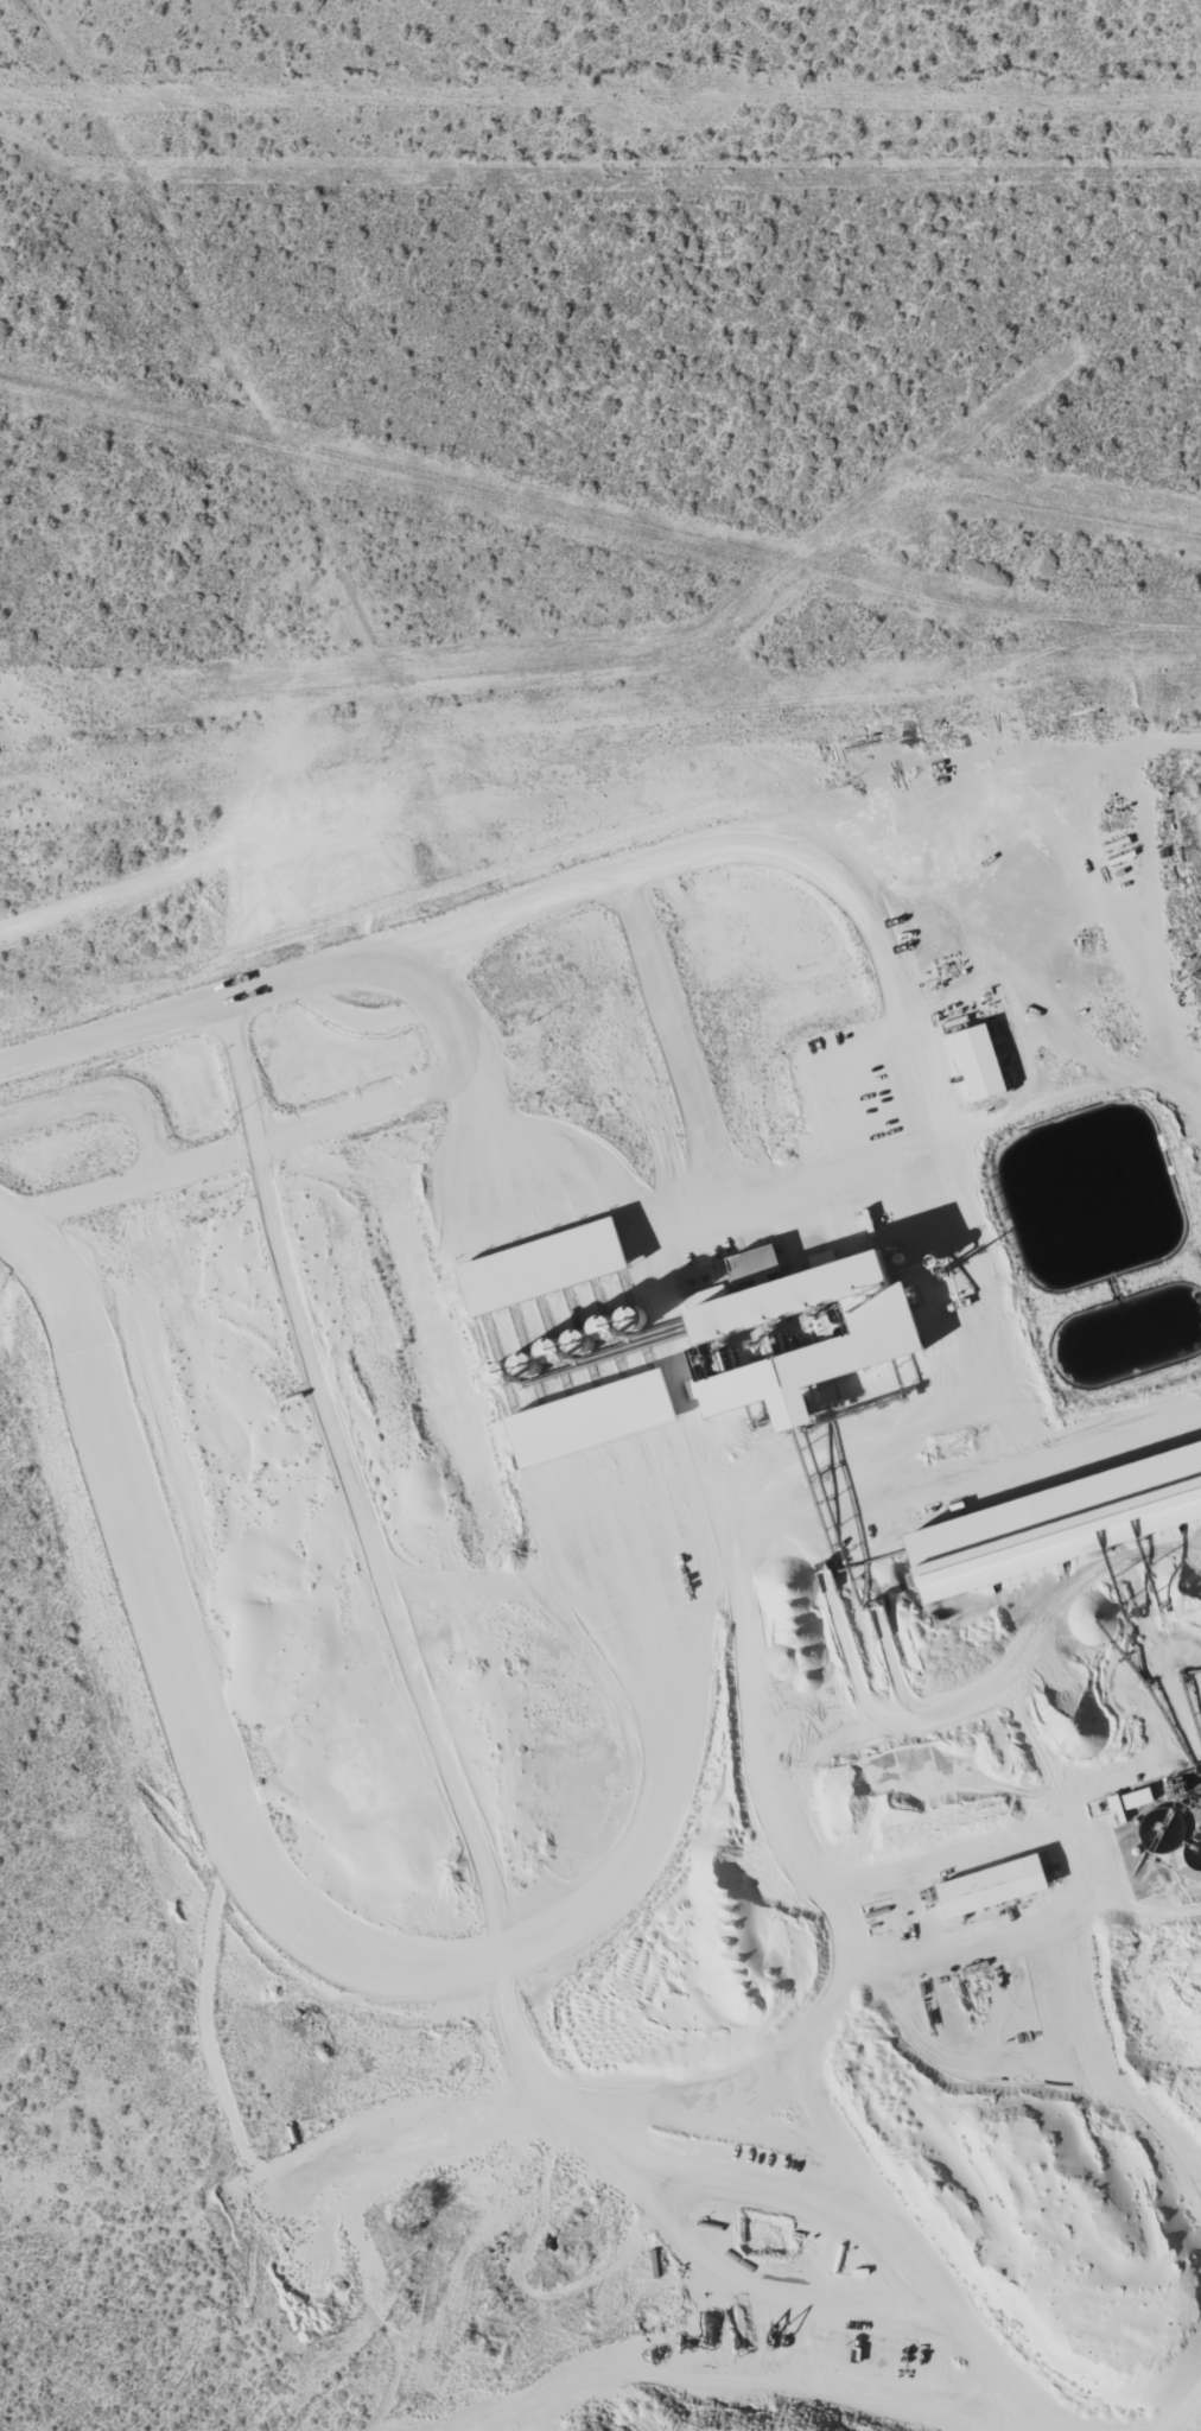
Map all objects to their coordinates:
road: (90, 887)
building: (981, 1061)
building: (547, 1265)
building: (596, 1417)
building: (1041, 1541)
quarry: (673, 1585)
building: (1130, 1801)
building: (993, 1886)

